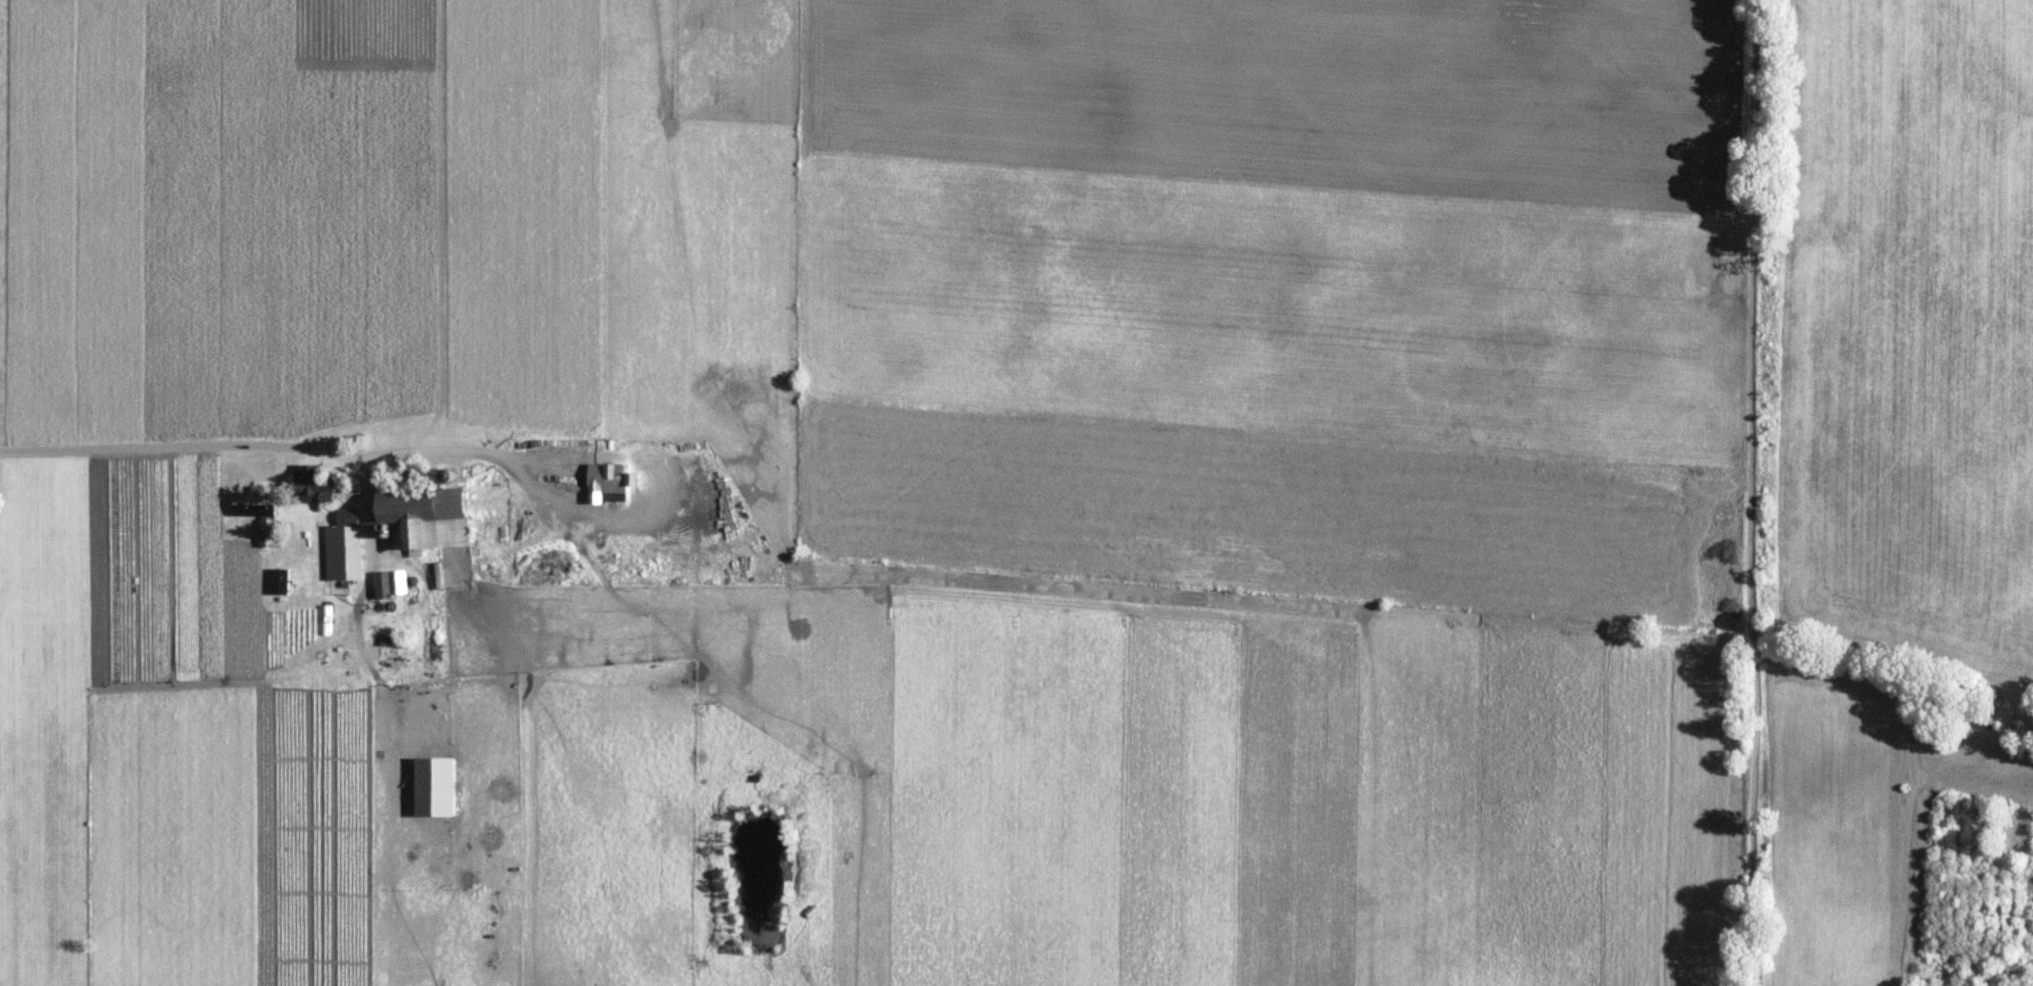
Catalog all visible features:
building: (357, 442)
road: (249, 447)
building: (608, 478)
building: (311, 486)
road: (652, 493)
road: (1756, 493)
building: (254, 502)
building: (428, 513)
building: (346, 516)
building: (269, 534)
building: (94, 552)
building: (342, 553)
building: (381, 588)

